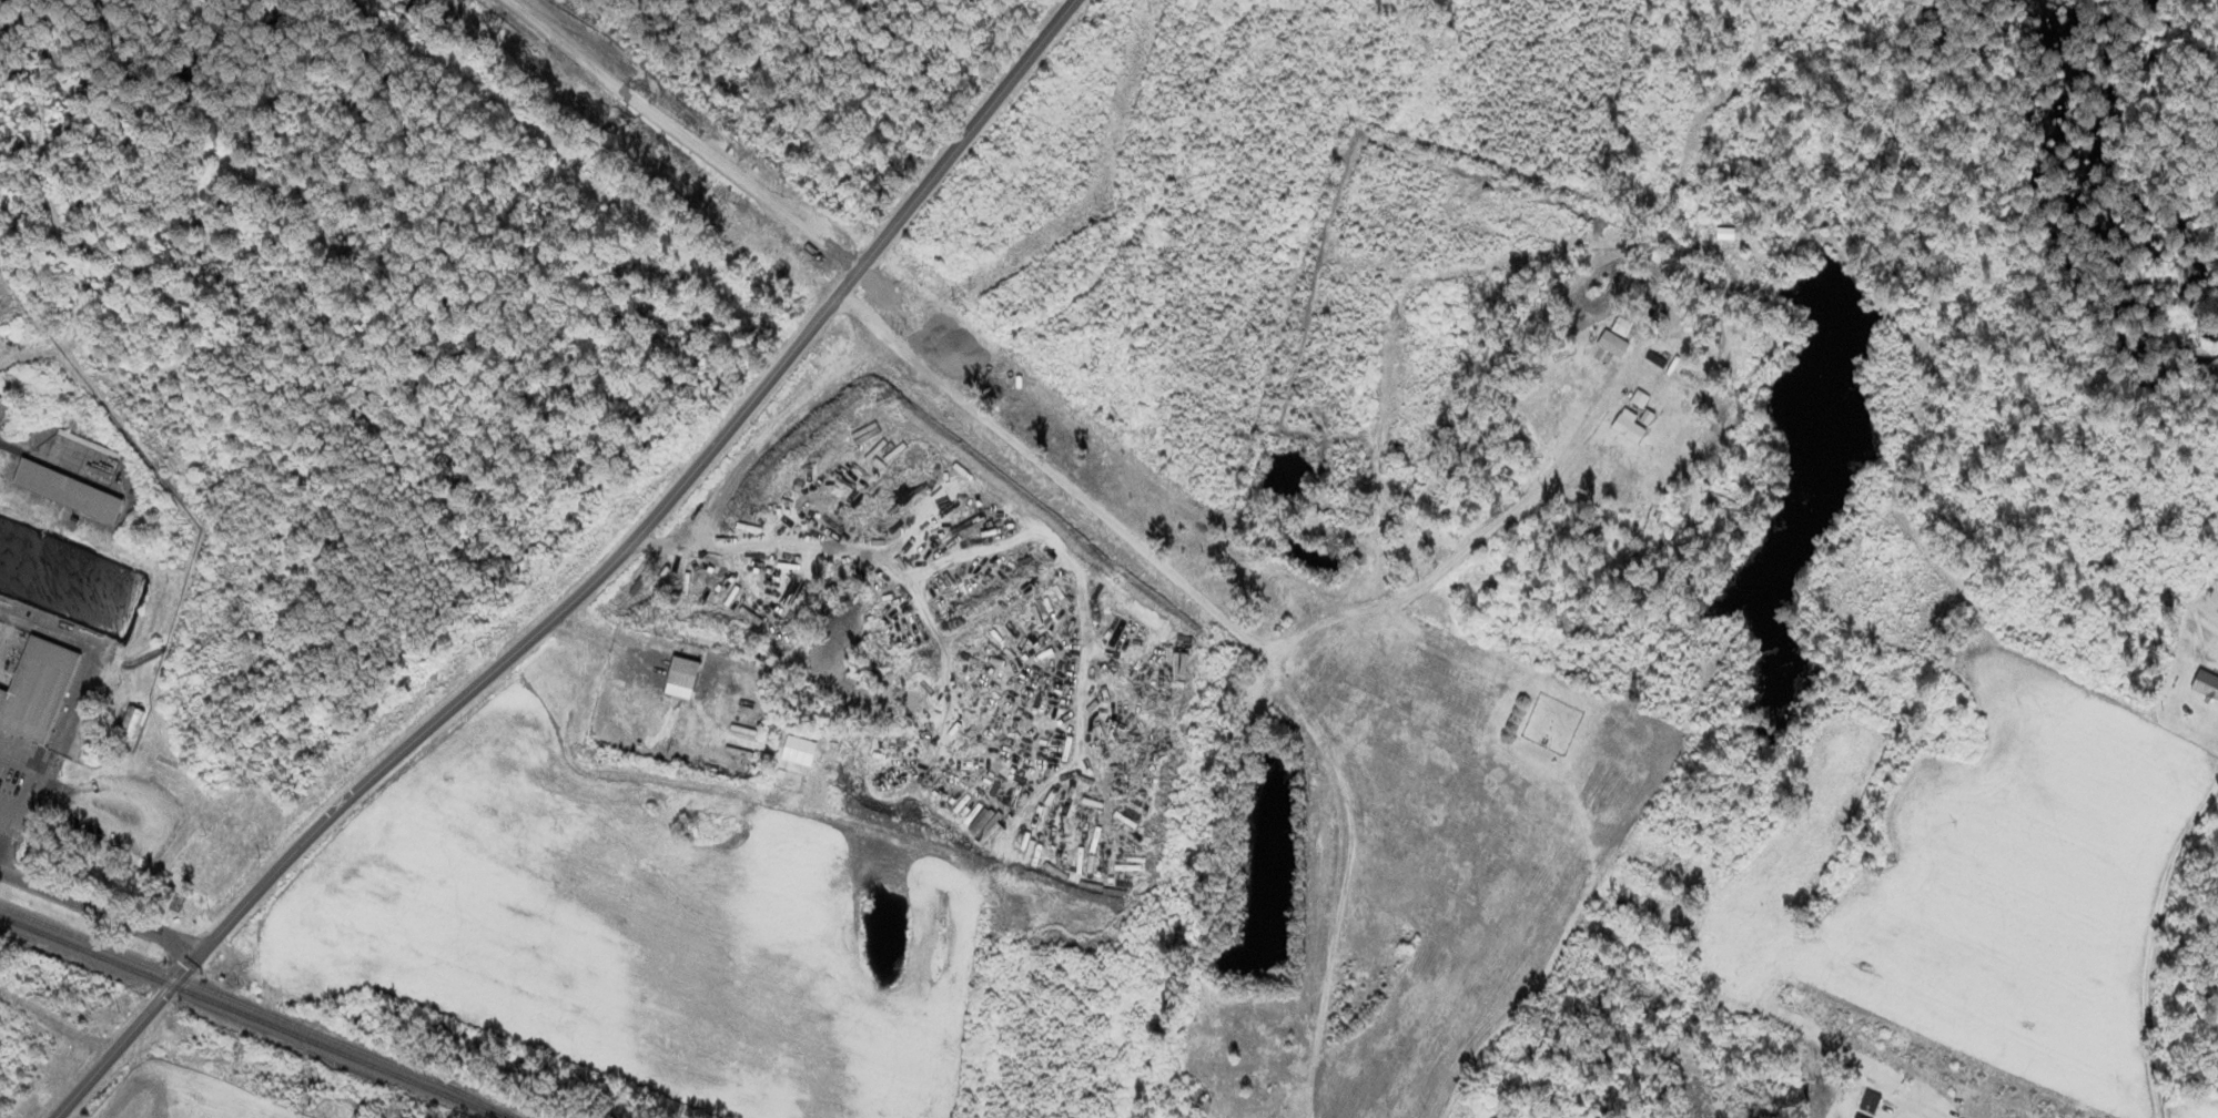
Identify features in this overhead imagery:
building: (1725, 232)
building: (1624, 322)
building: (0, 398)
building: (1629, 426)
building: (68, 492)
building: (1632, 569)
road: (588, 580)
building: (683, 673)
building: (2206, 685)
building: (37, 689)
building: (131, 722)
building: (1246, 729)
railway: (251, 1017)
building: (1257, 1080)
building: (1201, 1100)
building: (1871, 1101)

